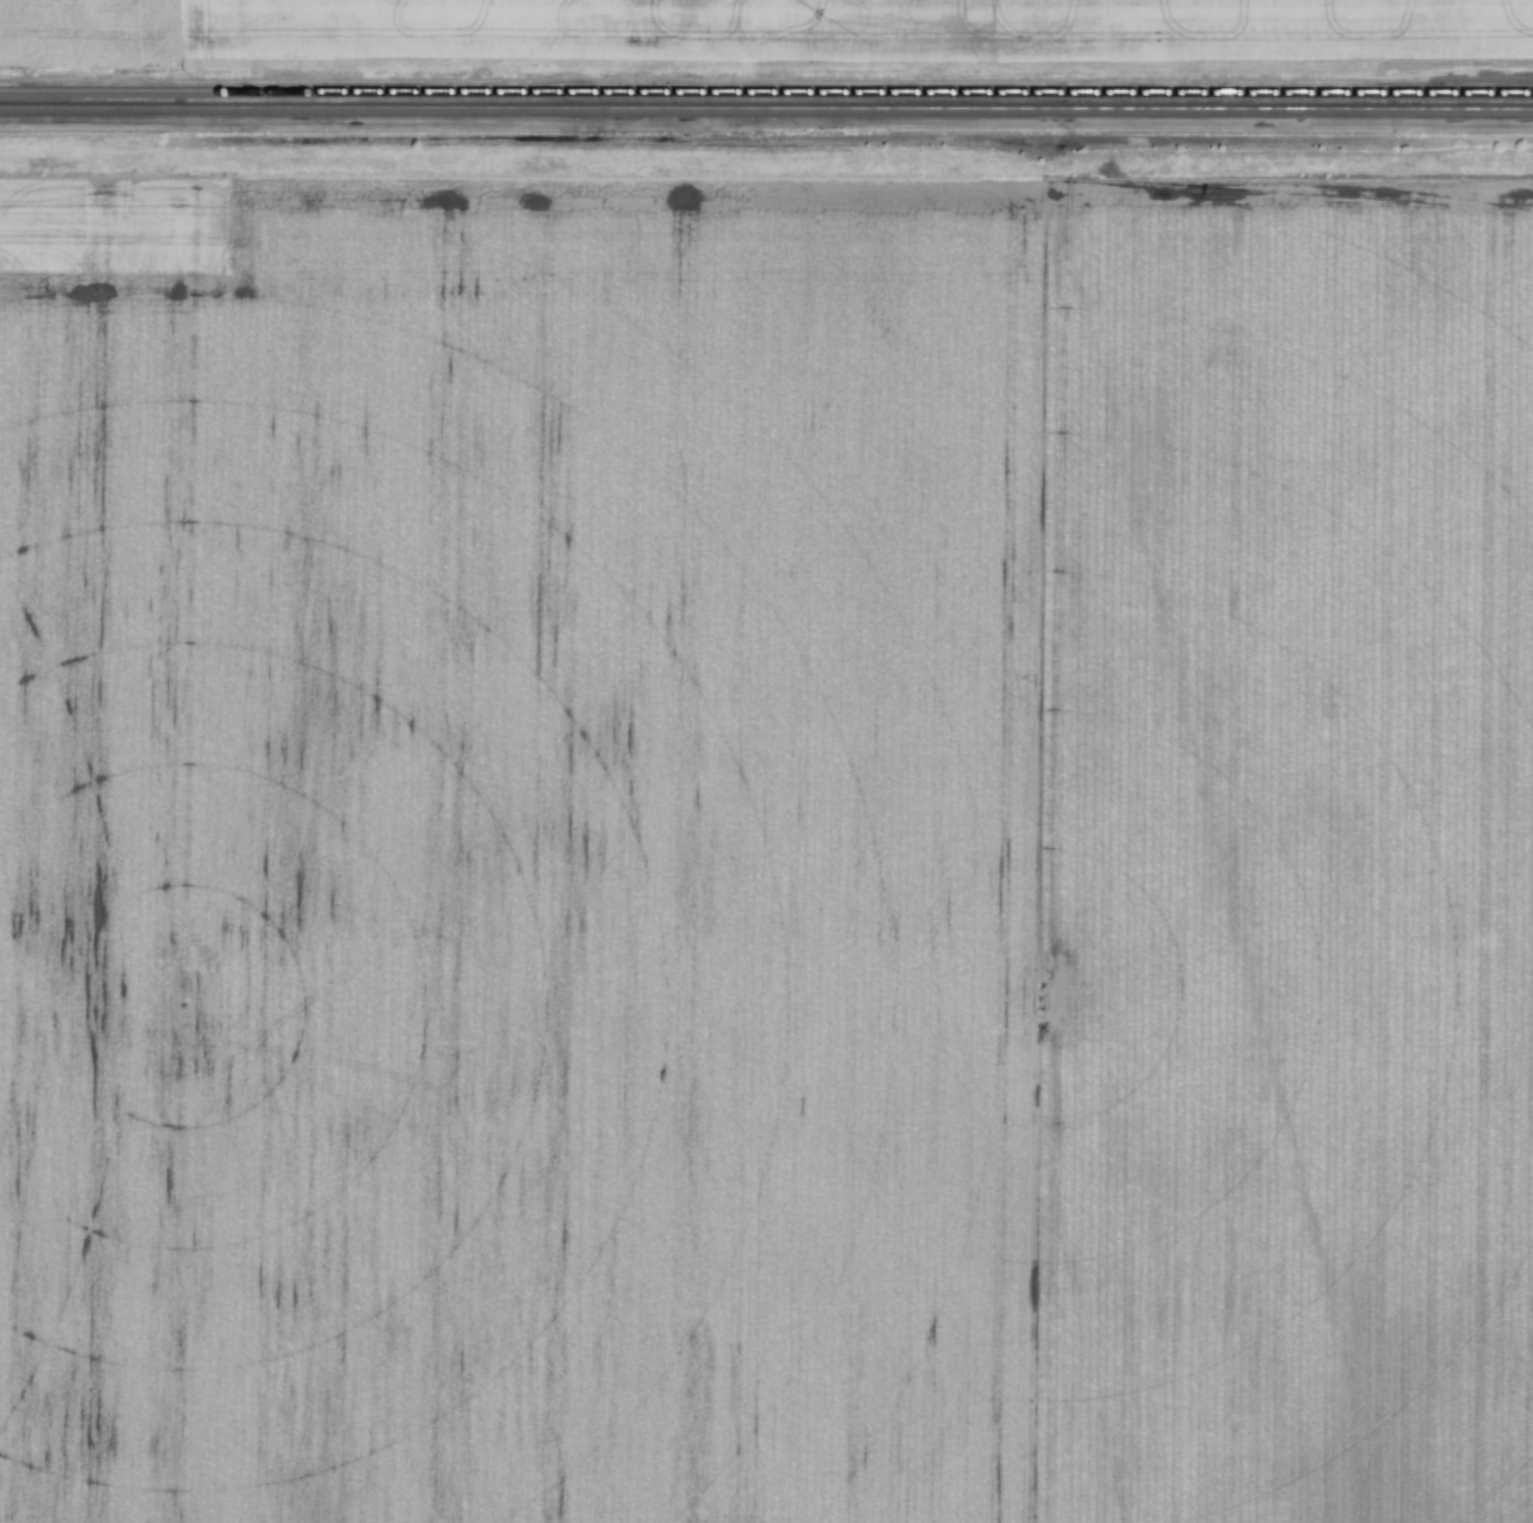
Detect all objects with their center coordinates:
railway: (766, 89)
railway: (766, 111)

